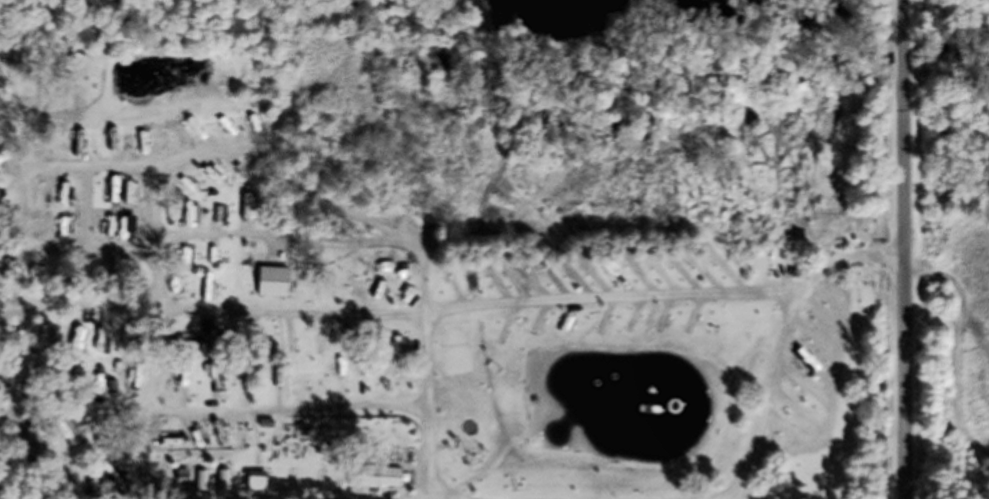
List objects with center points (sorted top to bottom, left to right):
road: (903, 249)
road: (843, 259)
building: (34, 279)
building: (268, 287)
road: (631, 298)
road: (158, 368)
building: (125, 383)
building: (370, 482)
building: (253, 486)

